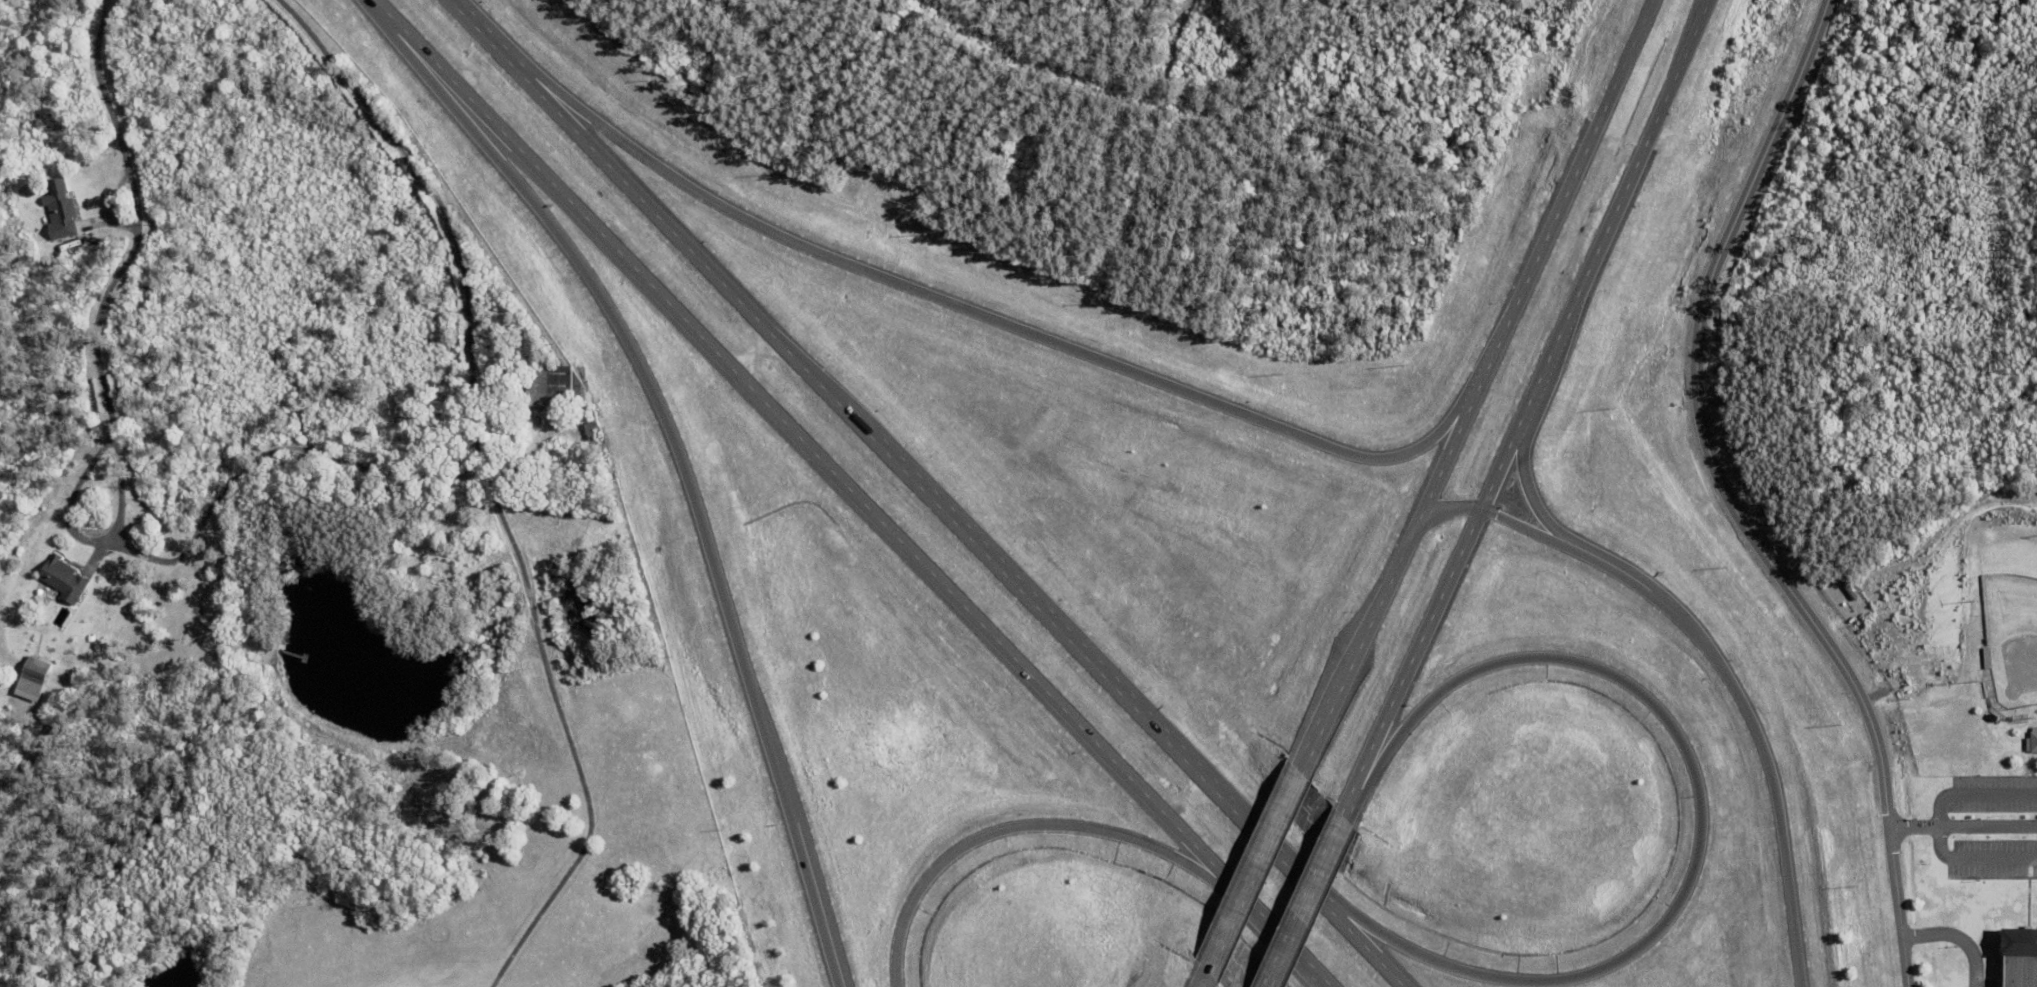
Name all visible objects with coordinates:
road: (1151, 145)
road: (1562, 194)
building: (61, 216)
building: (71, 247)
road: (122, 254)
road: (1592, 256)
building: (55, 272)
road: (992, 317)
building: (554, 388)
building: (608, 419)
building: (595, 438)
road: (684, 476)
road: (489, 483)
road: (931, 491)
road: (849, 494)
road: (1727, 500)
road: (1539, 508)
building: (498, 521)
building: (64, 581)
road: (1388, 582)
park: (2010, 622)
road: (1409, 660)
road: (1713, 660)
building: (37, 672)
building: (2032, 742)
road: (1338, 812)
road: (1702, 816)
road: (1029, 827)
parking lot: (1993, 827)
road: (1962, 828)
road: (1252, 875)
road: (1296, 902)
road: (1955, 939)
building: (2019, 959)
road: (1202, 981)

